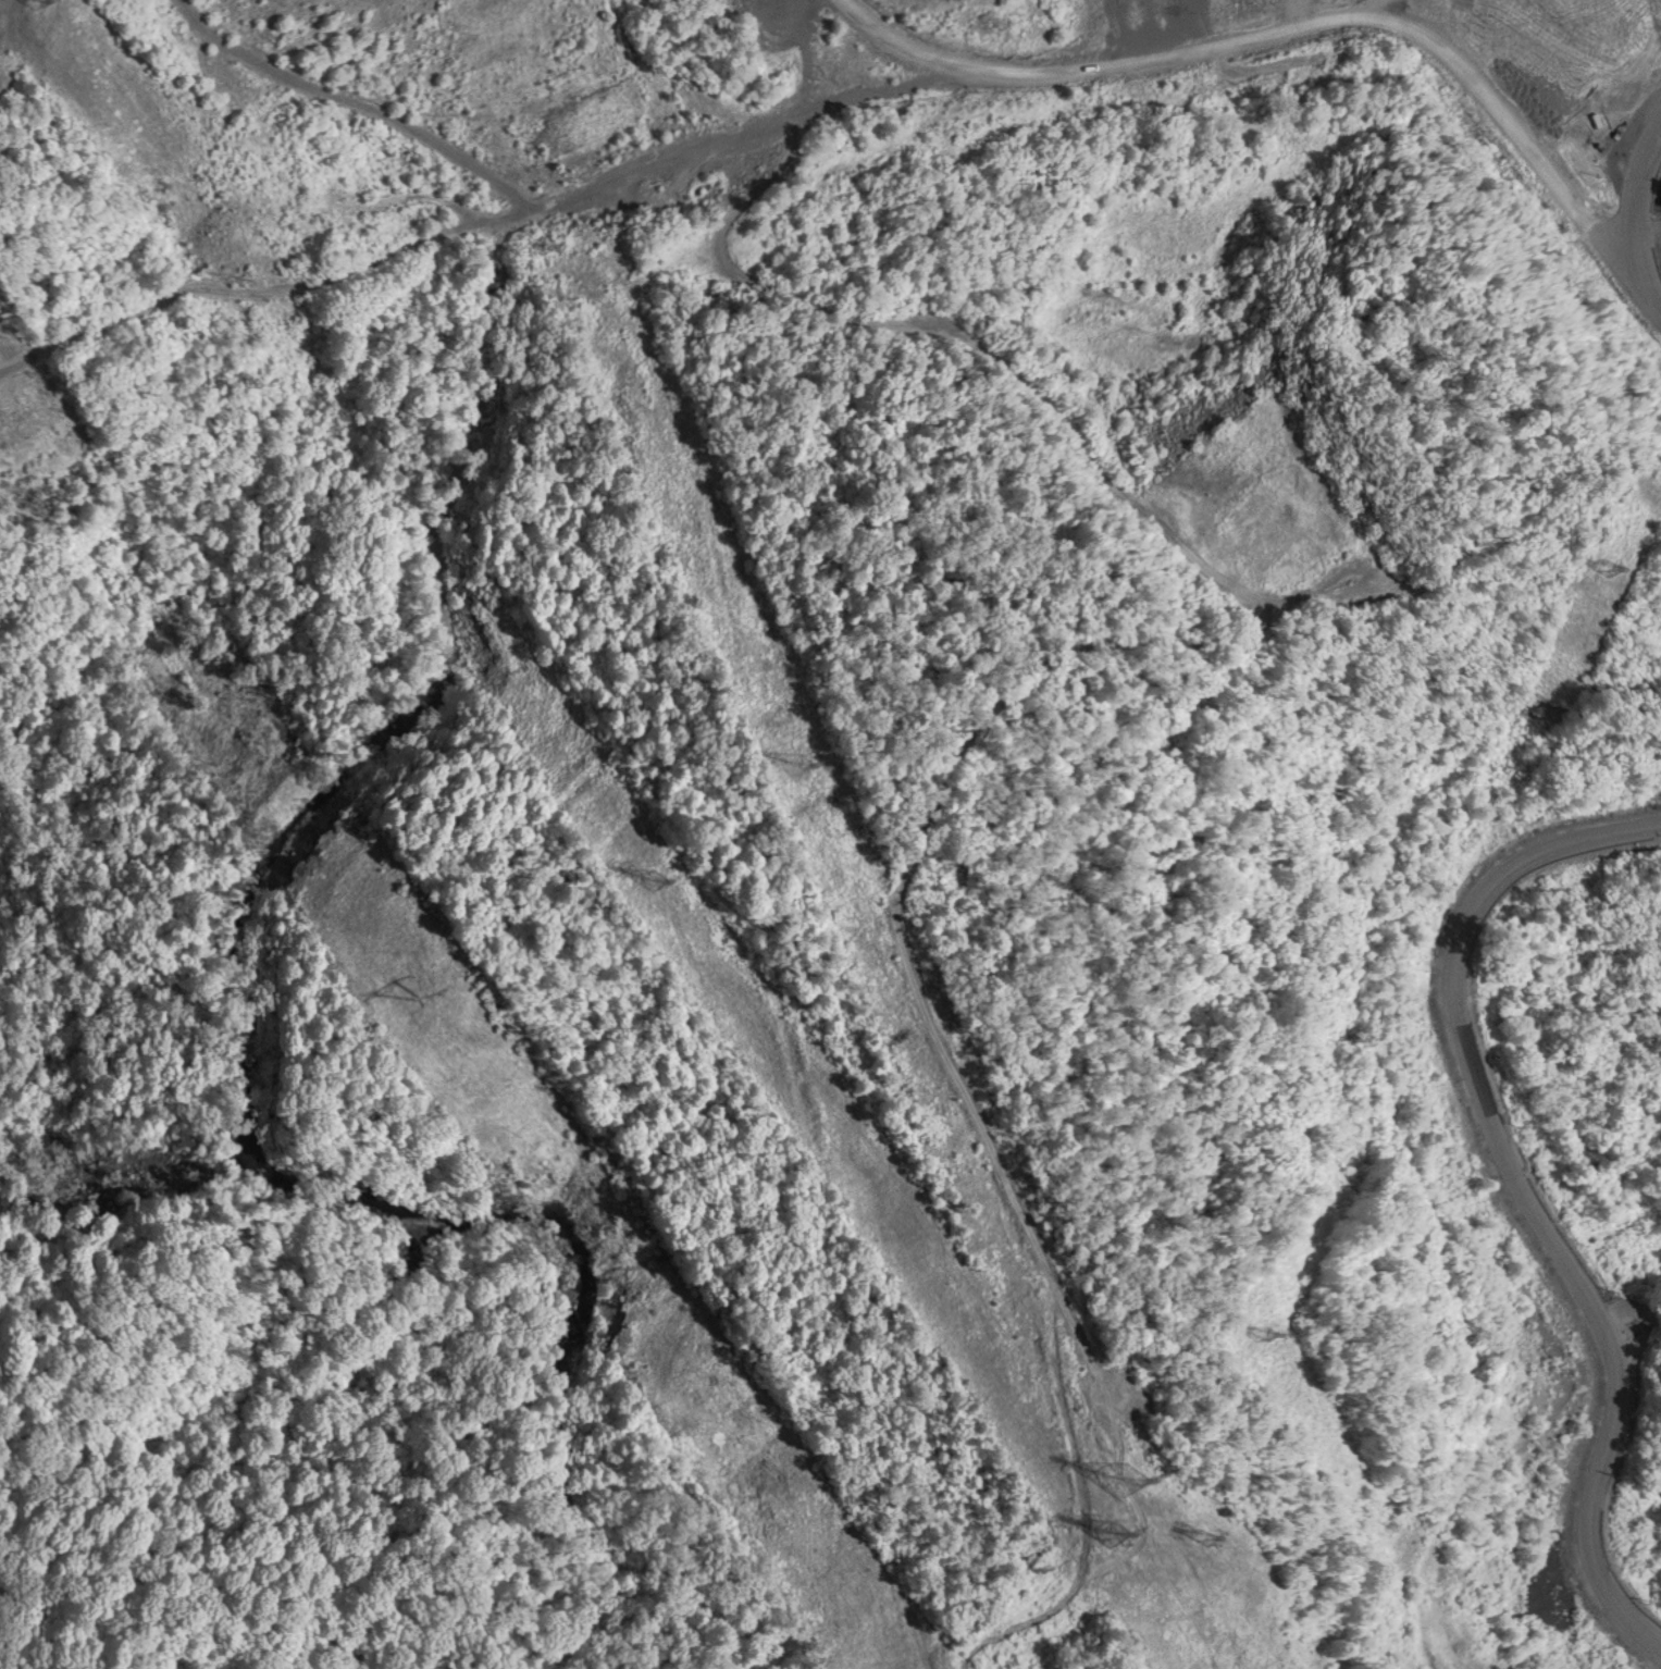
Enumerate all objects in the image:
building: (1155, 7)
building: (769, 32)
power tower: (1600, 566)
power tower: (655, 867)
power tower: (420, 981)
power tower: (1265, 1332)
power tower: (1107, 1529)

